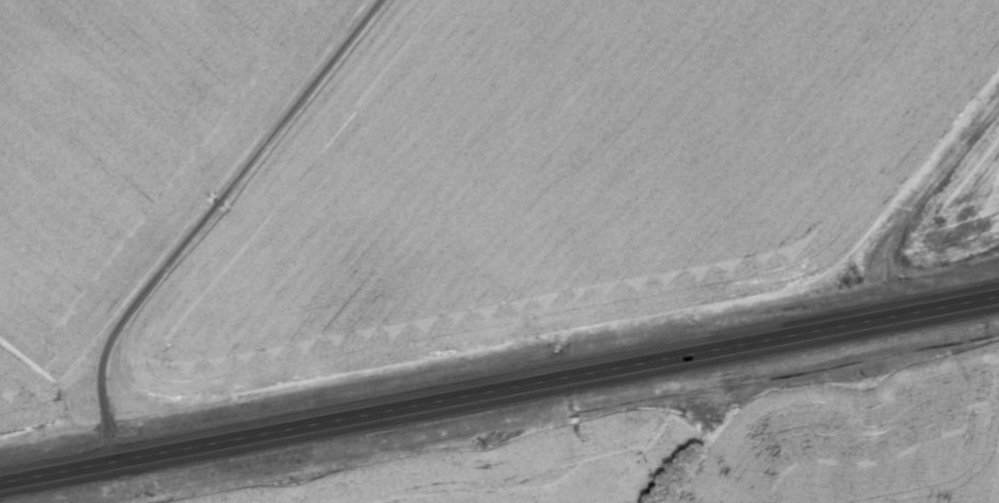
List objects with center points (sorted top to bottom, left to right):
road: (206, 209)
road: (499, 367)

